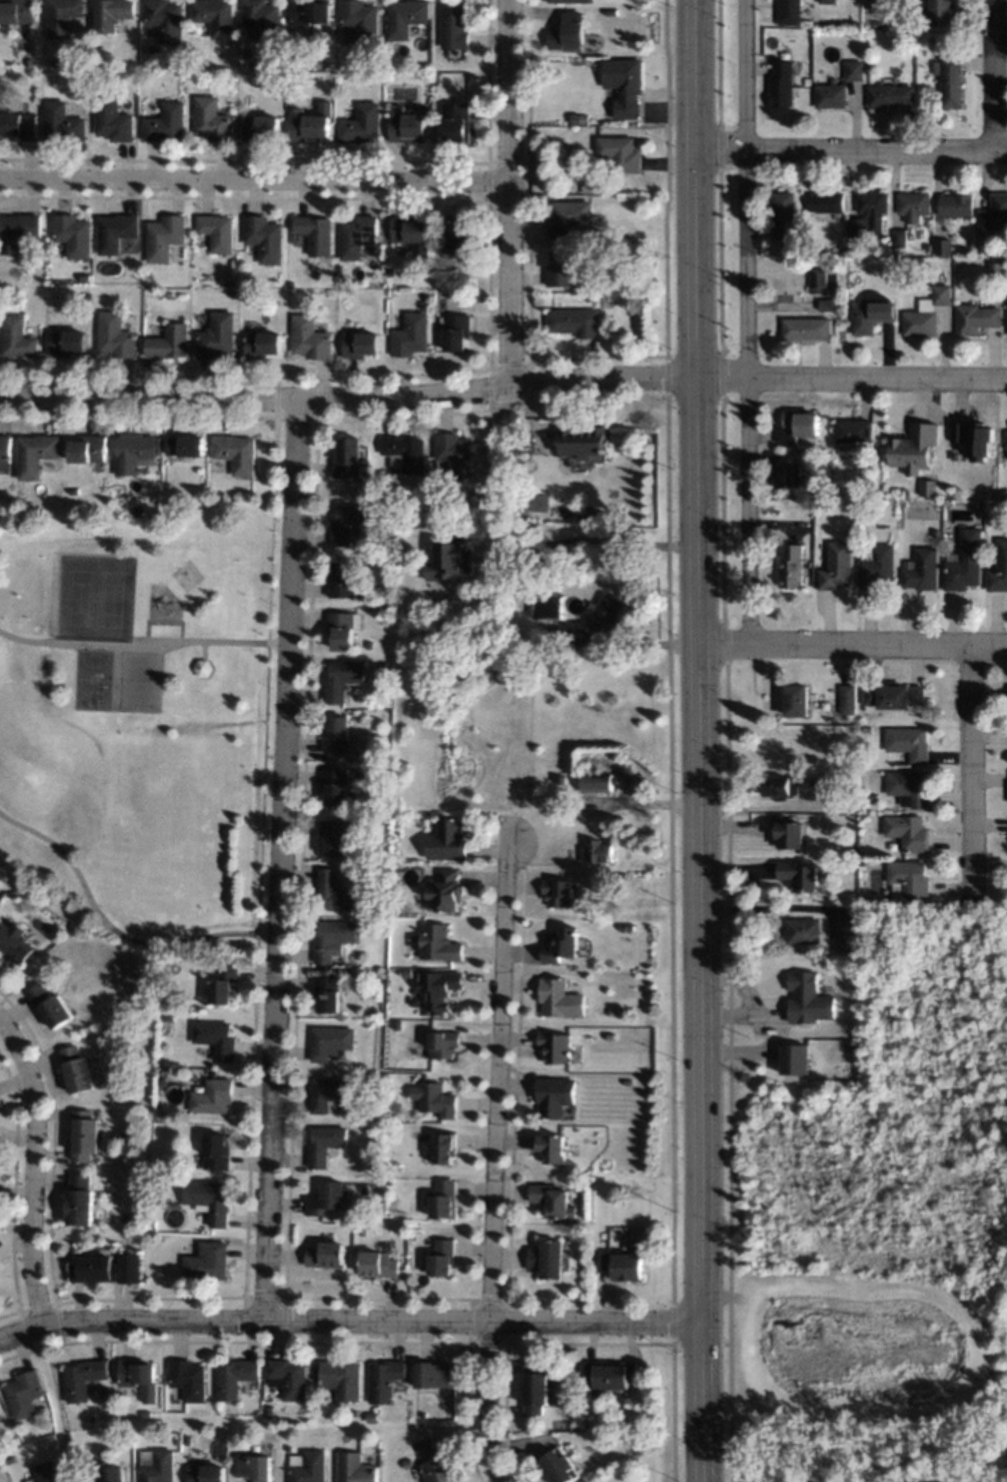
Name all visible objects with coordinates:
building: (567, 0)
building: (899, 0)
building: (828, 1)
building: (17, 11)
building: (309, 11)
building: (609, 11)
building: (790, 12)
building: (939, 12)
building: (111, 13)
building: (63, 16)
building: (215, 16)
building: (404, 17)
building: (165, 19)
building: (263, 19)
building: (360, 20)
building: (452, 24)
building: (566, 32)
building: (97, 49)
building: (255, 54)
building: (373, 54)
building: (168, 60)
building: (28, 61)
building: (853, 69)
road: (989, 75)
building: (96, 76)
building: (217, 76)
building: (948, 79)
building: (629, 82)
building: (781, 84)
building: (276, 94)
building: (829, 95)
building: (889, 95)
building: (424, 109)
building: (113, 119)
building: (211, 119)
building: (454, 120)
building: (311, 121)
building: (63, 122)
building: (165, 122)
building: (19, 124)
building: (360, 124)
building: (405, 125)
building: (260, 127)
road: (852, 149)
building: (619, 152)
road: (255, 179)
road: (510, 192)
building: (826, 201)
building: (871, 202)
building: (912, 203)
building: (954, 205)
building: (993, 212)
building: (783, 213)
building: (568, 217)
building: (857, 227)
building: (407, 229)
building: (17, 230)
building: (114, 231)
building: (216, 231)
building: (314, 232)
building: (72, 235)
building: (356, 235)
building: (163, 237)
building: (264, 237)
building: (459, 237)
building: (898, 238)
building: (942, 246)
building: (927, 248)
building: (591, 253)
building: (560, 268)
building: (339, 269)
building: (390, 270)
building: (245, 280)
building: (821, 280)
building: (233, 293)
building: (166, 294)
building: (246, 294)
building: (425, 297)
building: (612, 299)
building: (826, 305)
building: (871, 312)
building: (925, 312)
building: (1006, 313)
building: (973, 318)
building: (574, 321)
road: (750, 321)
building: (806, 328)
building: (456, 331)
building: (409, 334)
building: (114, 335)
building: (216, 335)
building: (16, 337)
building: (309, 337)
building: (66, 342)
building: (168, 342)
building: (261, 343)
building: (359, 344)
road: (851, 378)
road: (349, 396)
building: (797, 425)
building: (854, 431)
building: (972, 437)
building: (579, 440)
building: (1005, 442)
building: (186, 445)
building: (88, 447)
building: (912, 447)
building: (133, 451)
building: (235, 452)
building: (404, 452)
building: (453, 452)
building: (4, 453)
building: (35, 453)
building: (347, 456)
building: (787, 475)
building: (882, 486)
building: (927, 487)
building: (73, 491)
building: (450, 498)
building: (977, 503)
building: (347, 520)
building: (850, 531)
building: (935, 533)
road: (590, 538)
building: (448, 556)
building: (385, 562)
building: (963, 562)
building: (791, 565)
building: (835, 566)
building: (875, 566)
building: (998, 568)
building: (921, 570)
building: (345, 581)
park: (94, 595)
building: (545, 607)
building: (604, 613)
road: (162, 621)
building: (342, 628)
road: (139, 640)
road: (852, 643)
building: (385, 666)
building: (203, 667)
park: (91, 678)
building: (341, 678)
park: (139, 681)
building: (892, 697)
building: (846, 699)
building: (795, 700)
building: (846, 716)
park: (139, 724)
building: (865, 729)
building: (336, 734)
road: (670, 740)
road: (698, 741)
building: (907, 743)
road: (970, 772)
building: (594, 782)
building: (779, 784)
building: (335, 785)
building: (826, 786)
building: (907, 787)
building: (871, 795)
building: (906, 831)
building: (788, 834)
building: (332, 836)
building: (446, 840)
building: (597, 851)
road: (258, 859)
road: (280, 860)
building: (860, 862)
building: (797, 875)
building: (905, 877)
building: (446, 890)
building: (556, 891)
building: (334, 892)
building: (628, 927)
road: (113, 930)
building: (802, 930)
building: (332, 937)
building: (14, 940)
building: (438, 943)
building: (558, 944)
building: (844, 944)
road: (46, 956)
building: (406, 973)
building: (377, 975)
building: (221, 981)
building: (436, 990)
building: (327, 993)
building: (557, 998)
building: (806, 998)
building: (49, 1005)
building: (609, 1012)
building: (167, 1016)
building: (215, 1038)
building: (331, 1042)
building: (442, 1044)
building: (553, 1046)
building: (793, 1057)
building: (75, 1069)
building: (161, 1081)
building: (328, 1094)
building: (212, 1095)
building: (553, 1096)
building: (433, 1097)
building: (83, 1134)
building: (120, 1136)
building: (324, 1143)
building: (442, 1147)
building: (549, 1147)
building: (215, 1150)
road: (493, 1162)
building: (161, 1165)
road: (32, 1169)
building: (79, 1198)
building: (325, 1198)
building: (207, 1199)
building: (442, 1199)
building: (553, 1200)
building: (363, 1230)
building: (324, 1254)
building: (440, 1257)
building: (546, 1259)
building: (206, 1260)
building: (378, 1264)
building: (621, 1265)
building: (106, 1267)
road: (349, 1322)
park: (864, 1350)
building: (610, 1373)
building: (431, 1374)
building: (234, 1376)
building: (83, 1377)
building: (138, 1377)
building: (287, 1377)
building: (188, 1378)
building: (340, 1378)
building: (384, 1378)
building: (314, 1380)
building: (534, 1387)
building: (24, 1392)
road: (57, 1404)
building: (574, 1409)
building: (145, 1413)
building: (422, 1416)
building: (371, 1417)
building: (619, 1422)
building: (123, 1438)
building: (185, 1440)
building: (637, 1448)
building: (8, 1458)
building: (407, 1462)
building: (439, 1464)
building: (154, 1465)
building: (253, 1466)
building: (307, 1466)
building: (560, 1466)
building: (354, 1468)
building: (46, 1471)
building: (205, 1473)
building: (106, 1474)

